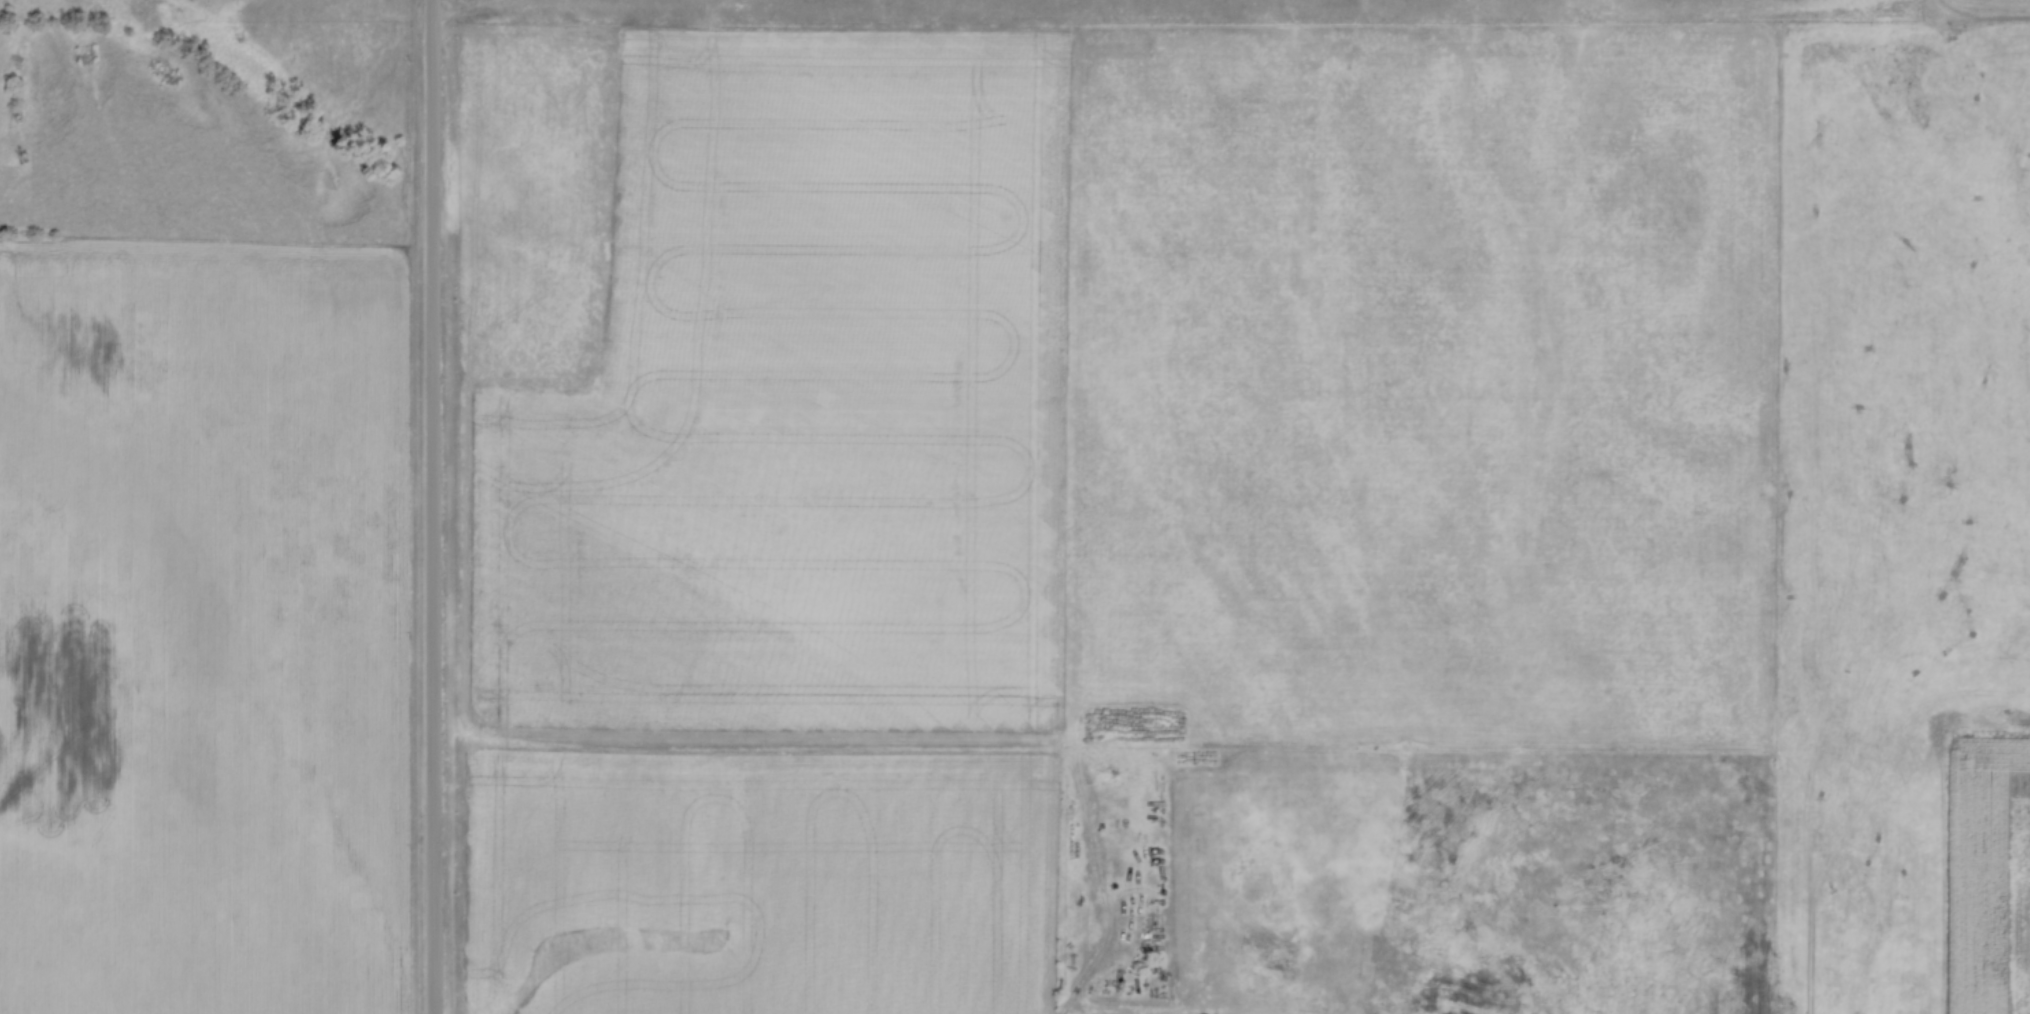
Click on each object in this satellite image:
road: (435, 507)

